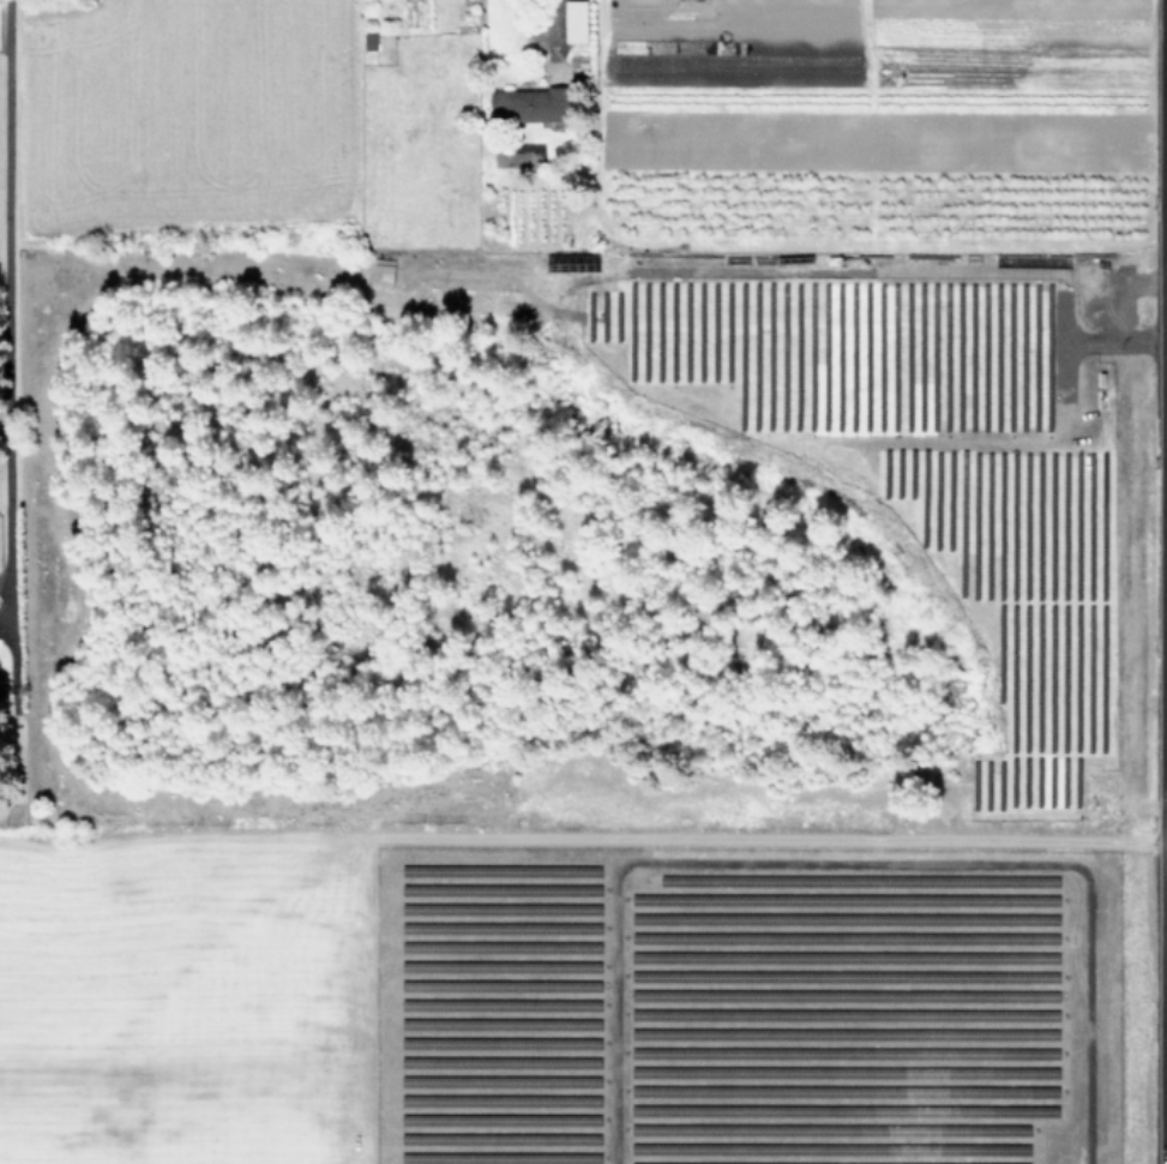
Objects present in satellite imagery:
road: (551, 17)
building: (576, 20)
building: (530, 103)
building: (379, 271)
road: (1166, 271)
road: (12, 295)
crop: (583, 582)
building: (0, 680)

